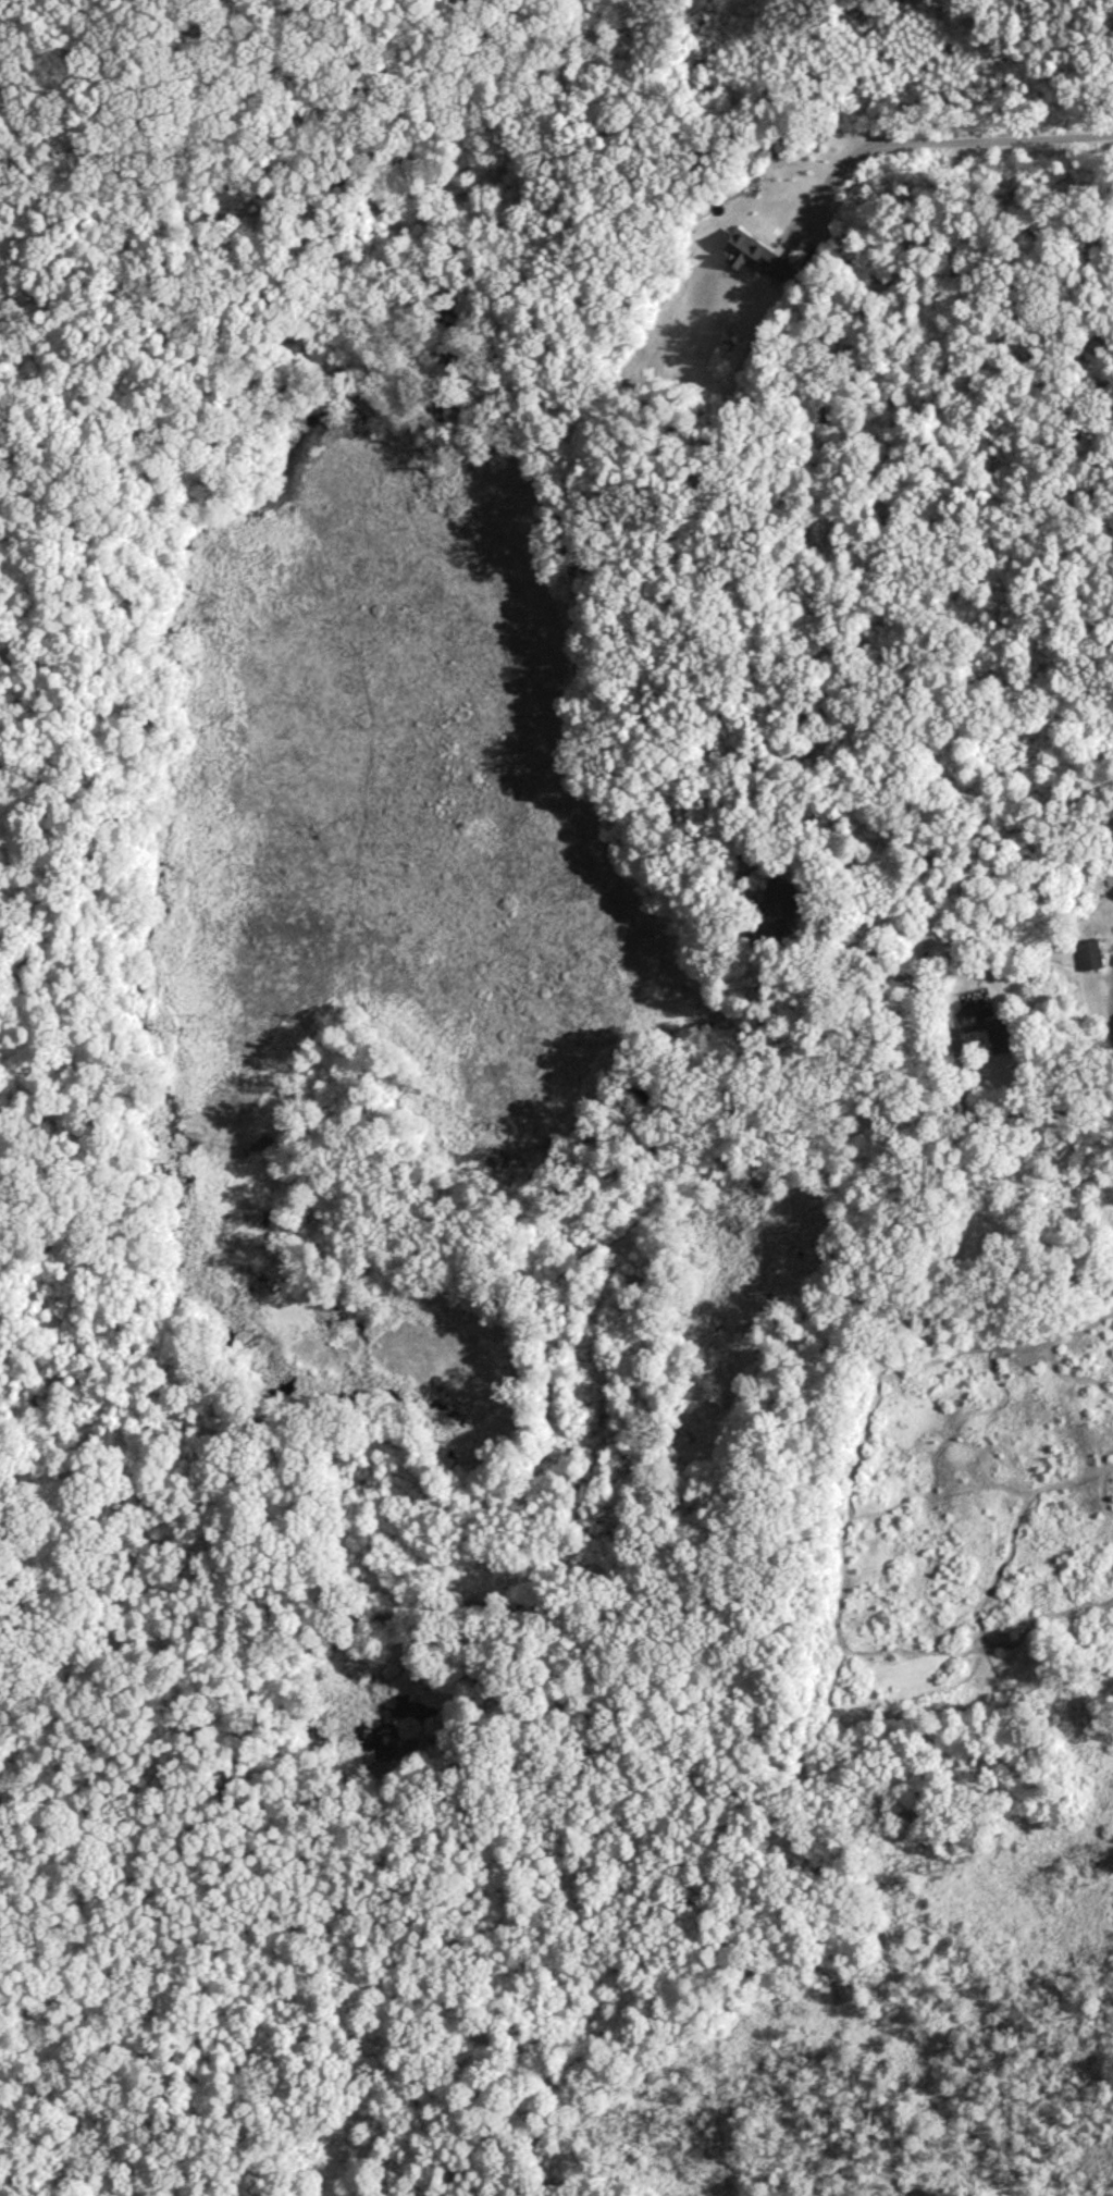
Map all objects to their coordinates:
road: (944, 138)
building: (753, 258)
building: (1095, 960)
road: (953, 1007)
road: (1108, 1013)
building: (970, 1023)
road: (1062, 1105)

